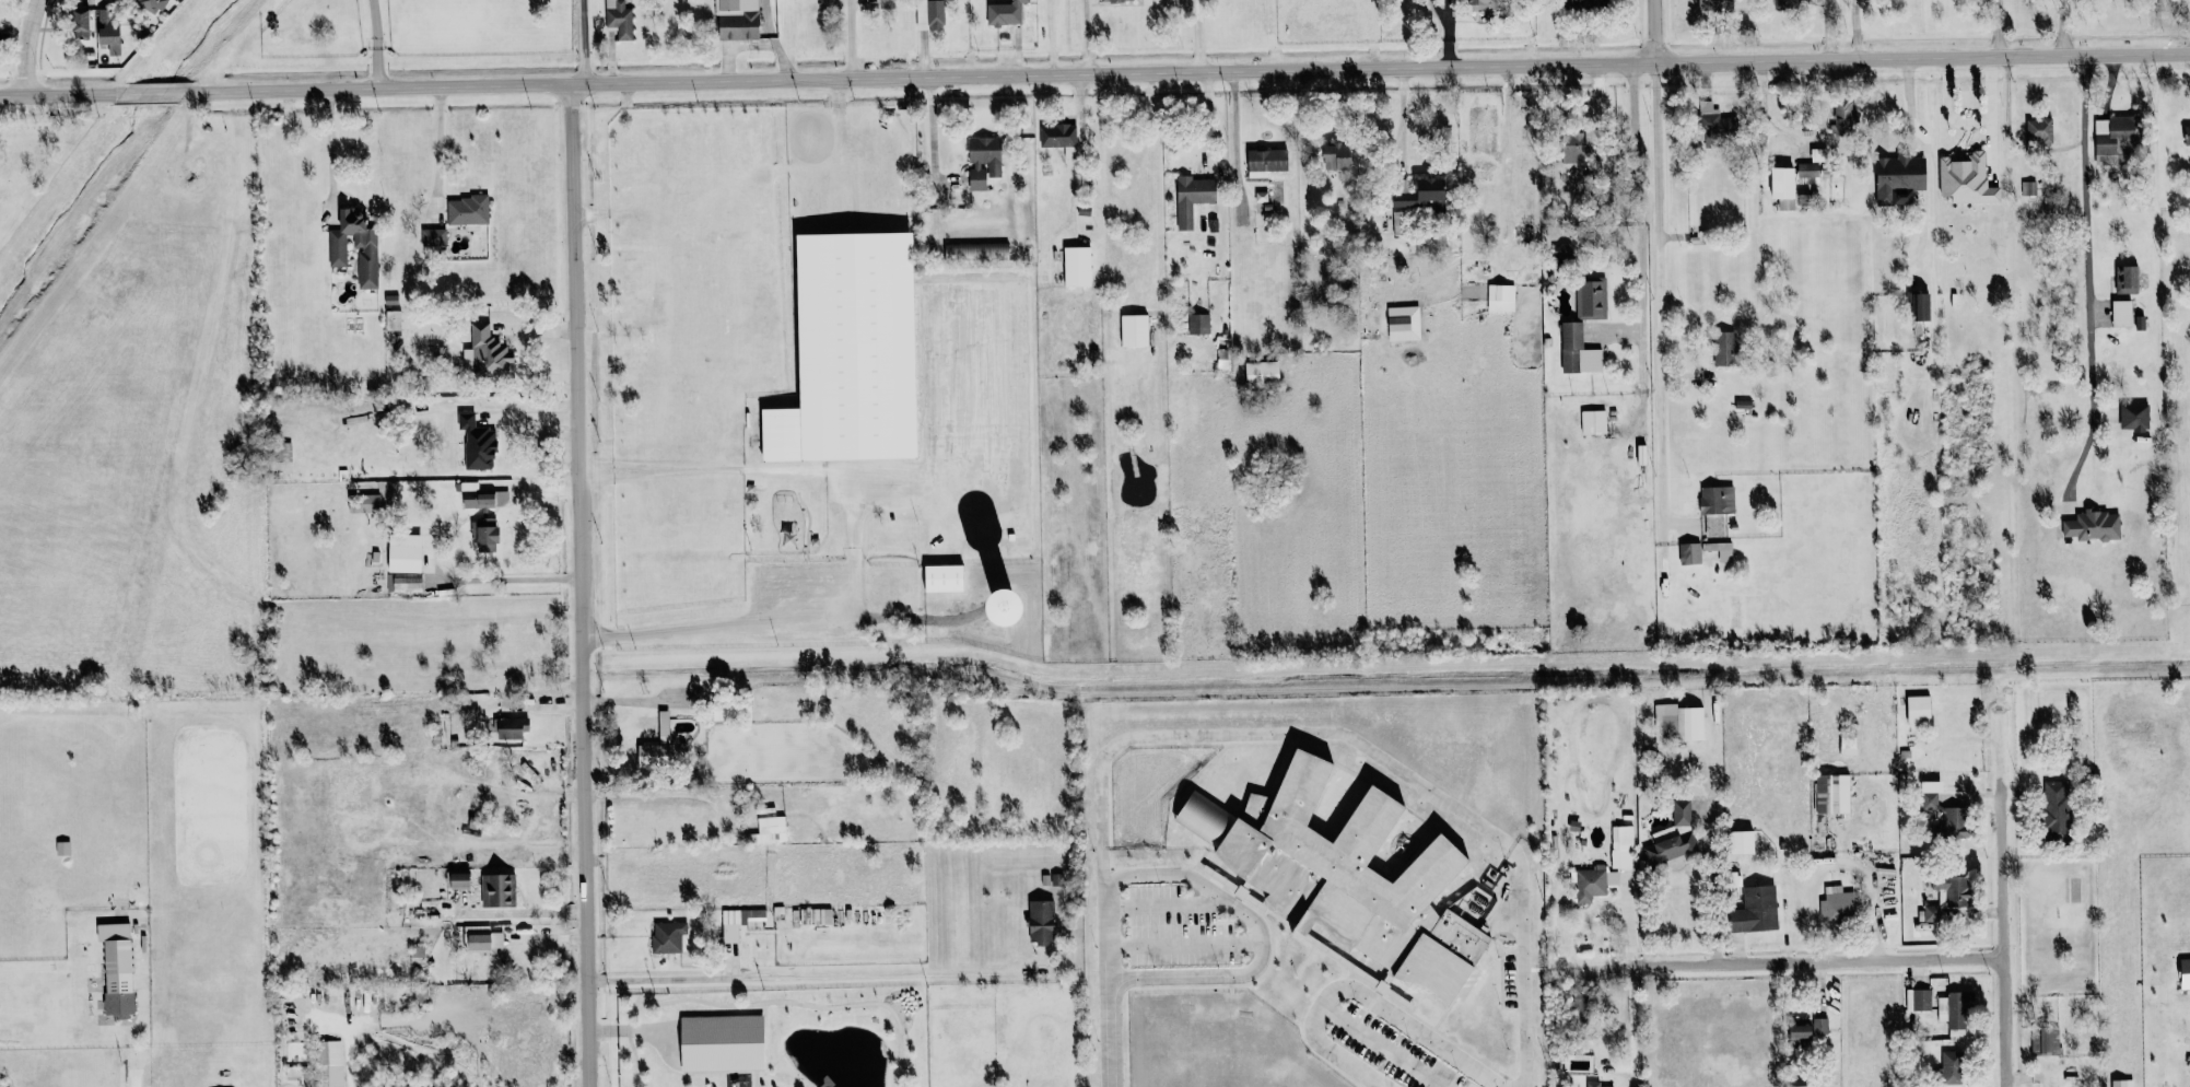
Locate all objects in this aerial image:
building: (1117, 0)
building: (1788, 3)
building: (1482, 4)
building: (1582, 4)
building: (150, 5)
building: (1714, 5)
building: (1004, 13)
building: (928, 14)
building: (618, 19)
building: (736, 20)
building: (78, 24)
building: (106, 26)
road: (1655, 27)
road: (1855, 27)
road: (1999, 28)
road: (2062, 28)
road: (1197, 33)
road: (1085, 34)
road: (851, 37)
road: (375, 43)
road: (27, 47)
road: (1187, 67)
road: (153, 93)
road: (60, 95)
road: (1205, 114)
road: (1401, 114)
building: (1842, 116)
building: (1708, 117)
road: (1233, 119)
road: (933, 128)
building: (2038, 135)
building: (2115, 135)
building: (1057, 136)
building: (2187, 136)
road: (1800, 142)
road: (1508, 144)
road: (438, 149)
road: (331, 151)
road: (1927, 154)
building: (1335, 156)
building: (983, 161)
building: (1265, 162)
road: (1080, 164)
building: (1807, 170)
building: (1899, 179)
building: (1966, 179)
building: (1782, 187)
building: (2028, 188)
building: (1419, 195)
building: (1192, 198)
building: (466, 210)
road: (1641, 210)
building: (1398, 223)
building: (432, 237)
building: (354, 247)
building: (975, 253)
building: (1076, 267)
building: (2128, 281)
building: (1500, 297)
building: (1590, 299)
building: (1922, 306)
building: (2121, 313)
building: (391, 320)
building: (1198, 324)
building: (1403, 324)
building: (1134, 331)
road: (2091, 337)
road: (1661, 343)
building: (1571, 347)
building: (1723, 349)
building: (848, 353)
building: (484, 355)
building: (1261, 374)
building: (2134, 417)
building: (1593, 422)
building: (475, 444)
building: (282, 452)
building: (477, 501)
building: (362, 504)
building: (1715, 507)
building: (2093, 526)
building: (484, 536)
road: (852, 539)
road: (583, 543)
building: (1723, 551)
building: (403, 553)
building: (1689, 553)
building: (942, 580)
building: (406, 583)
building: (1918, 710)
building: (1677, 723)
building: (511, 728)
road: (1277, 733)
building: (1848, 743)
building: (655, 746)
building: (1831, 794)
building: (2054, 810)
building: (1943, 811)
building: (1682, 813)
building: (766, 831)
building: (1621, 838)
building: (1741, 842)
building: (1672, 849)
road: (1838, 863)
building: (1612, 878)
building: (1345, 879)
building: (458, 880)
building: (1588, 884)
building: (497, 889)
building: (1947, 896)
road: (1715, 900)
building: (1835, 901)
road: (1160, 904)
building: (1755, 910)
road: (524, 912)
road: (1629, 921)
building: (737, 922)
building: (1040, 922)
road: (1257, 935)
building: (667, 936)
road: (2003, 936)
building: (482, 939)
road: (1182, 945)
road: (1807, 958)
building: (116, 968)
building: (2185, 973)
road: (804, 975)
road: (1362, 989)
building: (1918, 1000)
building: (1953, 1015)
road: (1631, 1024)
building: (1819, 1026)
building: (2041, 1041)
building: (721, 1043)
road: (1386, 1043)
road: (350, 1057)
building: (329, 1063)
road: (132, 1064)
building: (1947, 1070)
building: (2122, 1083)
building: (1594, 1084)
building: (1805, 1086)

